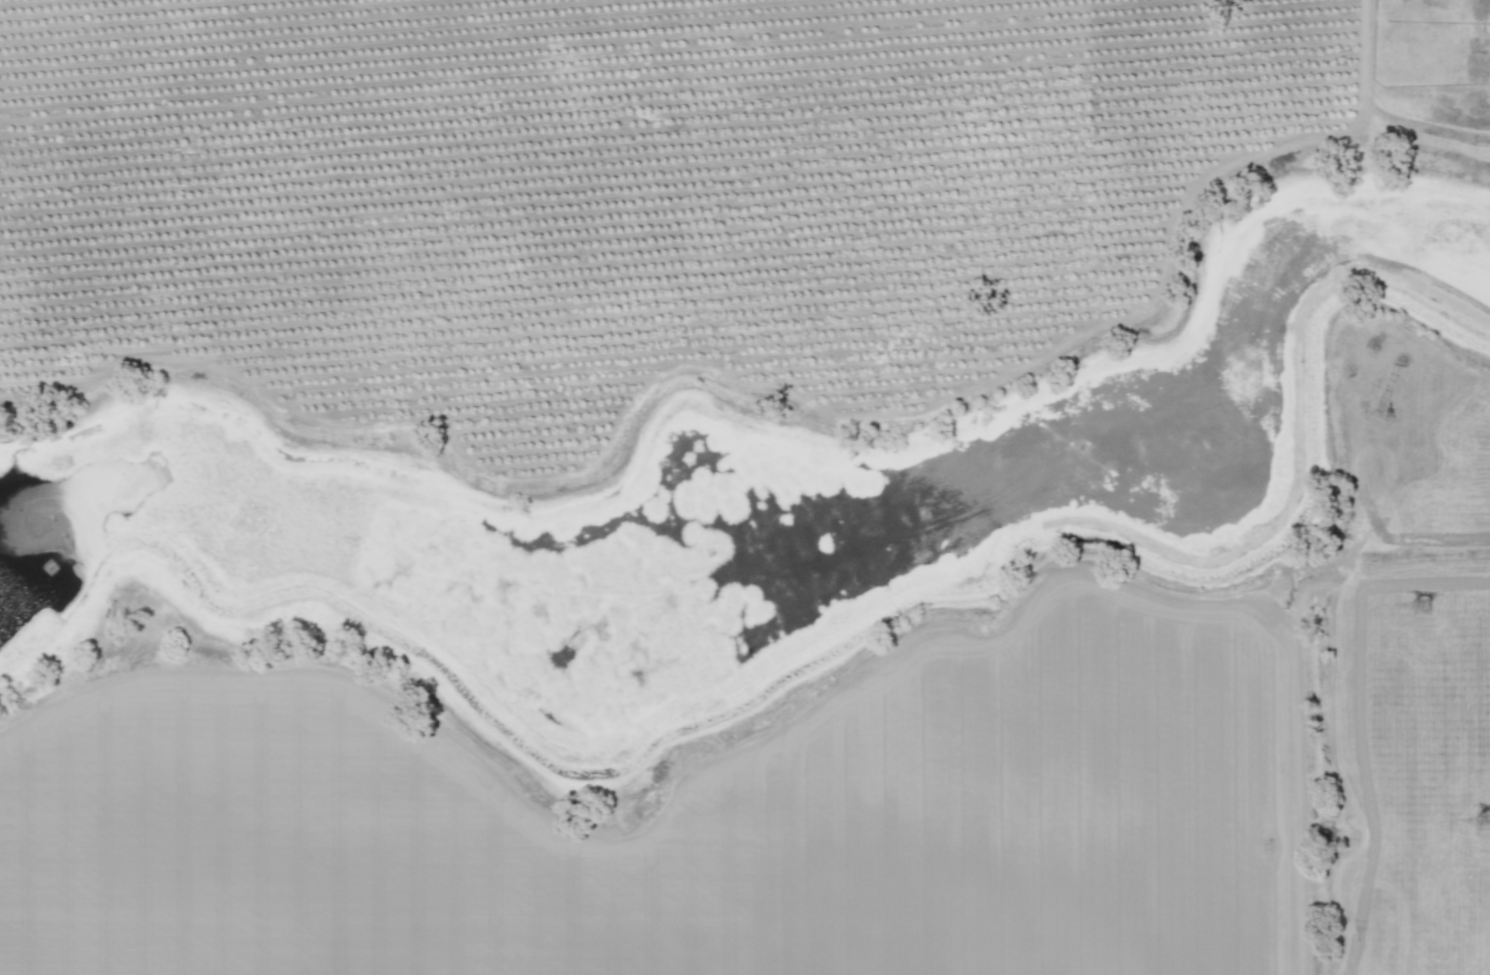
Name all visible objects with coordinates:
power tower: (1426, 618)
crop: (840, 771)
power tower: (1479, 817)

